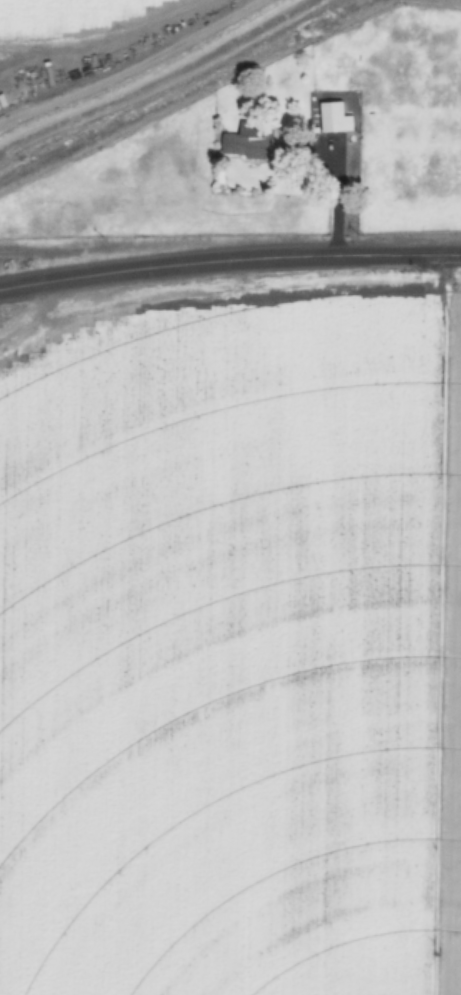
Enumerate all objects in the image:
building: (334, 118)
building: (249, 141)
road: (228, 240)

